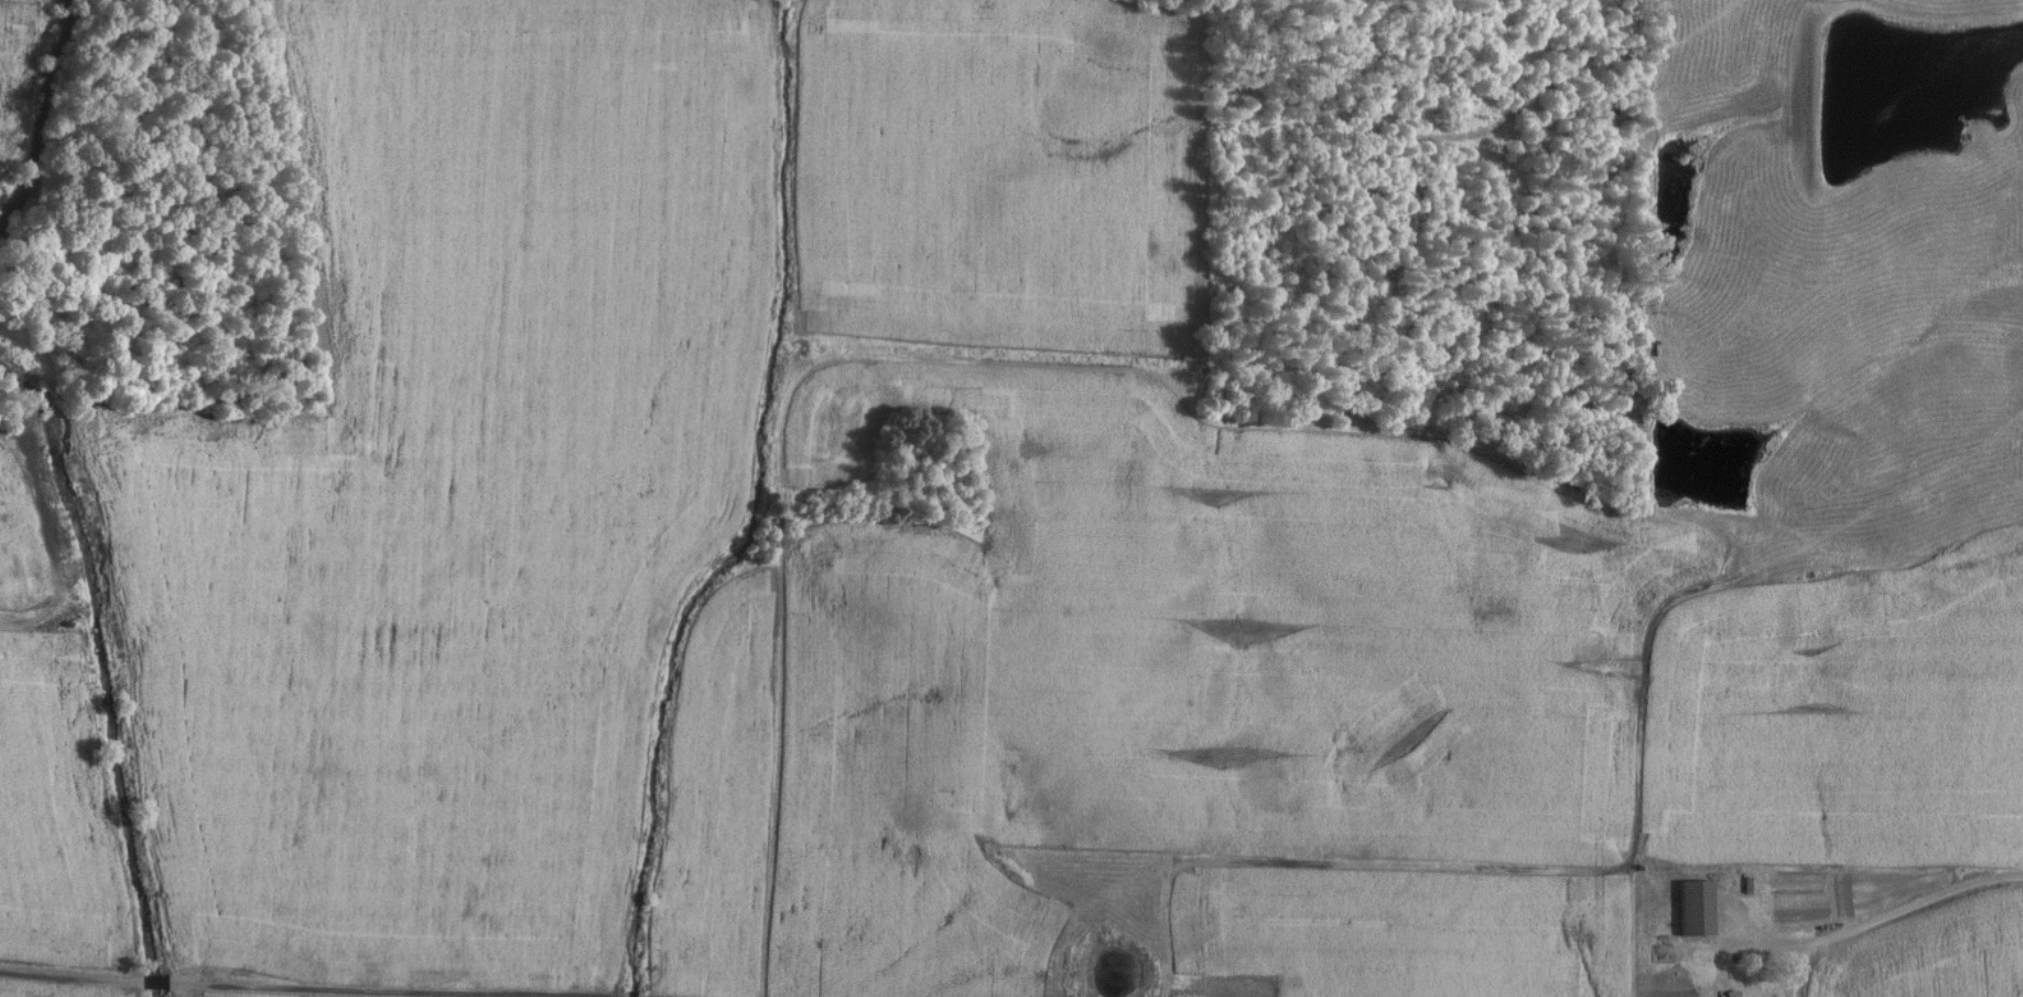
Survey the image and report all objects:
building: (1693, 911)
road: (1879, 921)
road: (1788, 971)
building: (1744, 988)

